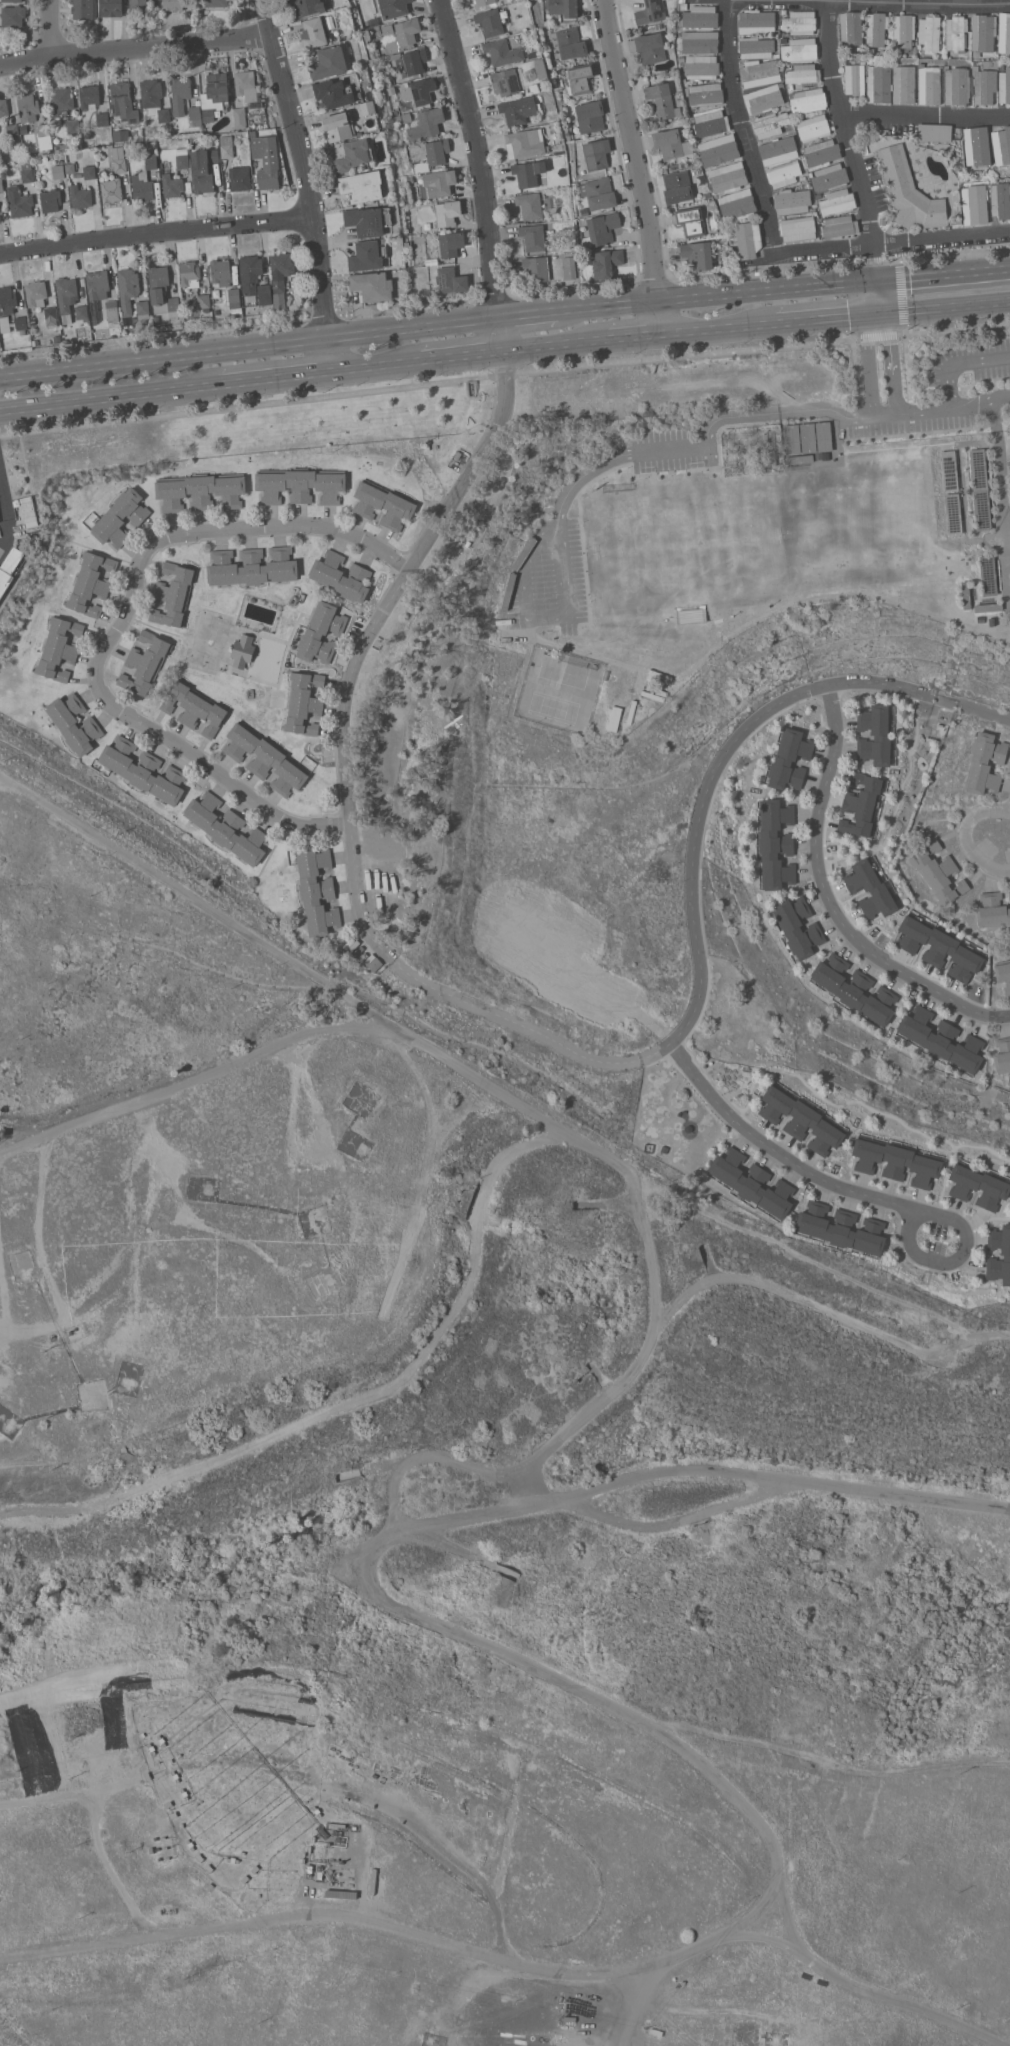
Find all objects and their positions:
building: (12, 0)
building: (139, 2)
building: (484, 2)
road: (885, 2)
building: (217, 3)
building: (173, 4)
building: (683, 4)
building: (307, 6)
building: (393, 7)
building: (560, 7)
building: (111, 8)
building: (84, 9)
building: (783, 11)
building: (651, 12)
building: (13, 16)
building: (700, 17)
building: (494, 20)
building: (757, 21)
building: (799, 22)
building: (533, 25)
building: (659, 25)
road: (51, 26)
building: (851, 27)
building: (876, 28)
building: (387, 30)
building: (314, 32)
building: (903, 32)
building: (930, 32)
building: (956, 32)
building: (983, 32)
building: (1004, 32)
building: (403, 34)
building: (365, 36)
building: (699, 42)
building: (568, 43)
road: (136, 46)
building: (651, 47)
building: (756, 47)
building: (800, 49)
building: (859, 49)
building: (871, 50)
building: (502, 51)
building: (393, 56)
building: (414, 60)
building: (329, 62)
building: (702, 67)
building: (1001, 67)
building: (541, 69)
building: (759, 72)
building: (803, 74)
building: (581, 77)
building: (854, 79)
building: (245, 81)
building: (504, 81)
building: (891, 83)
building: (929, 84)
building: (957, 85)
building: (984, 85)
building: (218, 86)
building: (1004, 86)
building: (391, 90)
building: (420, 90)
building: (334, 93)
building: (151, 94)
building: (180, 94)
building: (705, 94)
building: (90, 96)
building: (764, 98)
building: (807, 99)
building: (661, 100)
building: (59, 101)
building: (123, 103)
building: (3, 107)
building: (28, 107)
building: (368, 108)
building: (519, 109)
road: (925, 113)
building: (165, 115)
building: (195, 115)
building: (208, 115)
building: (590, 116)
building: (404, 117)
building: (102, 118)
building: (240, 118)
building: (685, 121)
building: (710, 123)
road: (740, 124)
building: (770, 124)
building: (426, 125)
road: (844, 125)
building: (73, 126)
building: (337, 126)
building: (813, 127)
building: (43, 129)
building: (12, 130)
building: (934, 131)
building: (252, 133)
building: (121, 136)
building: (108, 137)
building: (138, 138)
building: (45, 142)
building: (524, 142)
building: (671, 143)
building: (1001, 143)
building: (227, 146)
building: (61, 147)
building: (977, 147)
building: (718, 149)
building: (437, 150)
building: (778, 150)
building: (821, 152)
building: (596, 153)
building: (354, 154)
road: (480, 157)
building: (119, 159)
building: (151, 160)
building: (267, 161)
building: (182, 162)
building: (420, 166)
road: (638, 166)
building: (70, 167)
building: (204, 170)
building: (27, 171)
building: (58, 171)
building: (89, 172)
building: (784, 173)
building: (426, 174)
building: (530, 174)
building: (728, 177)
building: (802, 177)
building: (830, 177)
building: (240, 178)
road: (308, 183)
building: (441, 183)
building: (1, 185)
building: (173, 186)
building: (363, 186)
building: (677, 186)
building: (143, 187)
building: (111, 190)
building: (908, 191)
building: (598, 193)
building: (818, 195)
building: (80, 196)
building: (1000, 199)
building: (50, 200)
building: (19, 201)
building: (792, 201)
building: (837, 202)
building: (737, 204)
building: (529, 205)
building: (974, 205)
building: (584, 211)
building: (447, 212)
building: (0, 215)
building: (0, 220)
building: (370, 221)
building: (691, 221)
building: (821, 221)
building: (427, 225)
building: (839, 226)
building: (798, 228)
building: (601, 229)
road: (156, 232)
building: (533, 237)
building: (747, 239)
road: (942, 241)
building: (449, 244)
road: (824, 249)
building: (698, 255)
building: (366, 256)
building: (606, 262)
road: (876, 264)
building: (569, 267)
building: (536, 268)
building: (281, 271)
building: (189, 272)
building: (221, 272)
building: (251, 273)
building: (424, 274)
road: (943, 274)
building: (451, 280)
traffic signals: (878, 281)
building: (158, 283)
building: (400, 283)
building: (373, 286)
building: (97, 291)
building: (128, 292)
building: (36, 293)
building: (264, 294)
road: (727, 295)
building: (66, 297)
road: (878, 297)
building: (234, 298)
building: (203, 300)
building: (173, 303)
building: (6, 306)
road: (944, 307)
building: (142, 308)
building: (247, 309)
building: (50, 312)
building: (81, 312)
building: (112, 312)
road: (539, 313)
traffic signals: (879, 314)
road: (812, 319)
building: (20, 322)
road: (954, 327)
road: (704, 329)
building: (93, 334)
road: (502, 334)
road: (875, 335)
road: (620, 338)
building: (0, 345)
road: (541, 346)
road: (250, 348)
road: (453, 357)
road: (958, 360)
road: (894, 361)
road: (869, 362)
road: (369, 367)
road: (269, 379)
road: (426, 384)
parking lot: (954, 390)
road: (100, 399)
road: (981, 401)
road: (927, 410)
road: (863, 416)
building: (823, 436)
building: (808, 437)
building: (792, 439)
road: (682, 445)
parking lot: (667, 450)
building: (458, 454)
building: (798, 458)
building: (948, 470)
building: (300, 484)
building: (981, 489)
building: (200, 491)
road: (1000, 495)
building: (384, 504)
building: (28, 509)
building: (952, 513)
road: (5, 517)
building: (120, 517)
park: (753, 549)
building: (252, 566)
road: (563, 567)
building: (9, 568)
building: (988, 575)
building: (341, 576)
parking lot: (547, 581)
building: (91, 583)
road: (523, 585)
building: (173, 594)
building: (966, 594)
building: (988, 607)
road: (754, 619)
road: (118, 628)
building: (321, 633)
park: (209, 641)
road: (361, 642)
building: (59, 648)
building: (242, 650)
building: (145, 663)
park: (563, 672)
building: (612, 701)
building: (304, 703)
park: (553, 707)
building: (195, 708)
building: (48, 719)
building: (74, 723)
building: (875, 734)
road: (728, 751)
building: (265, 758)
building: (790, 759)
building: (985, 763)
building: (143, 770)
building: (861, 804)
building: (227, 828)
road: (965, 838)
building: (775, 844)
building: (938, 872)
building: (871, 889)
building: (316, 890)
building: (1009, 894)
road: (830, 899)
building: (992, 910)
building: (798, 926)
building: (501, 934)
building: (939, 947)
building: (376, 965)
building: (1003, 973)
building: (608, 978)
building: (854, 989)
road: (526, 1028)
building: (942, 1039)
building: (1002, 1055)
road: (197, 1078)
road: (705, 1089)
building: (801, 1119)
road: (591, 1146)
building: (896, 1161)
building: (752, 1182)
building: (978, 1185)
road: (908, 1206)
building: (841, 1228)
road: (36, 1229)
road: (125, 1251)
building: (1006, 1255)
road: (356, 1401)
road: (906, 1492)
road: (468, 1521)
building: (341, 1576)
building: (529, 1716)
building: (790, 1771)
building: (802, 1773)
road: (440, 1852)
road: (767, 1896)
road: (771, 1939)
road: (858, 1983)
road: (638, 2008)

